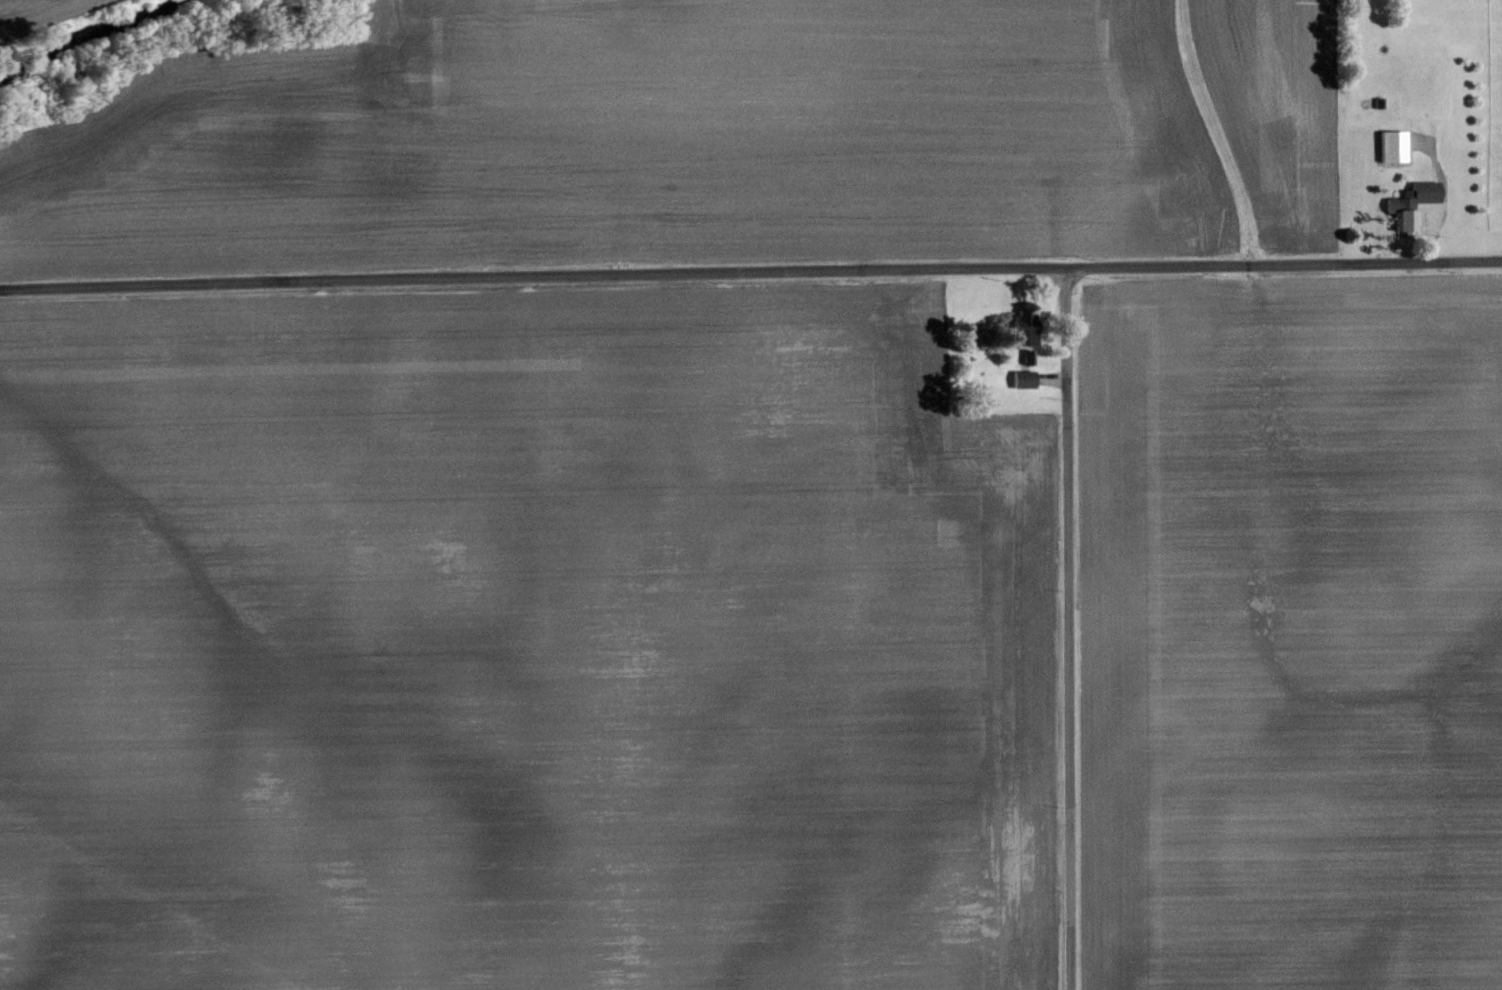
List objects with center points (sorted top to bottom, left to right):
building: (1395, 146)
building: (1415, 202)
road: (1286, 273)
road: (535, 289)
building: (1026, 328)
building: (1029, 357)
building: (1025, 380)
road: (1070, 634)

